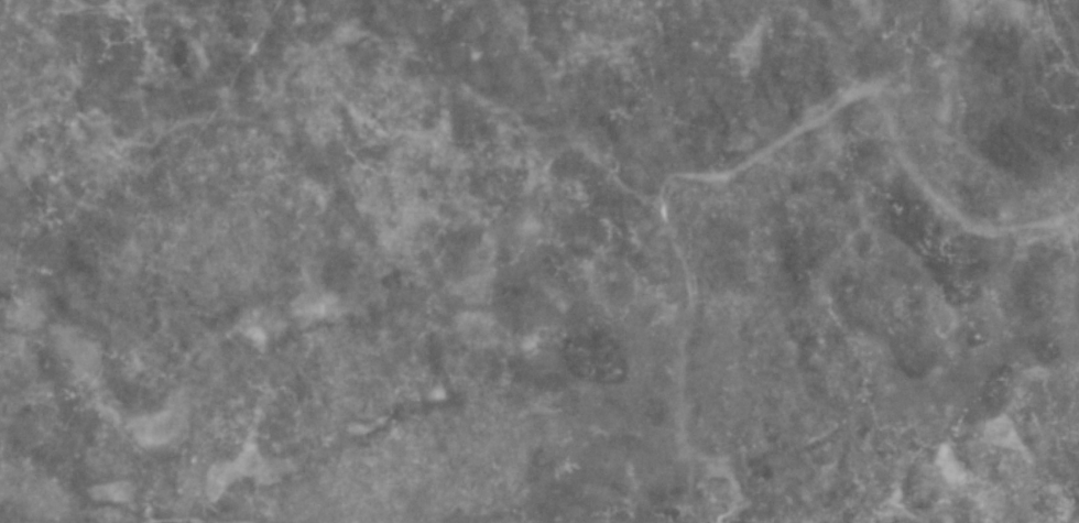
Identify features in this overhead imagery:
road: (470, 522)

